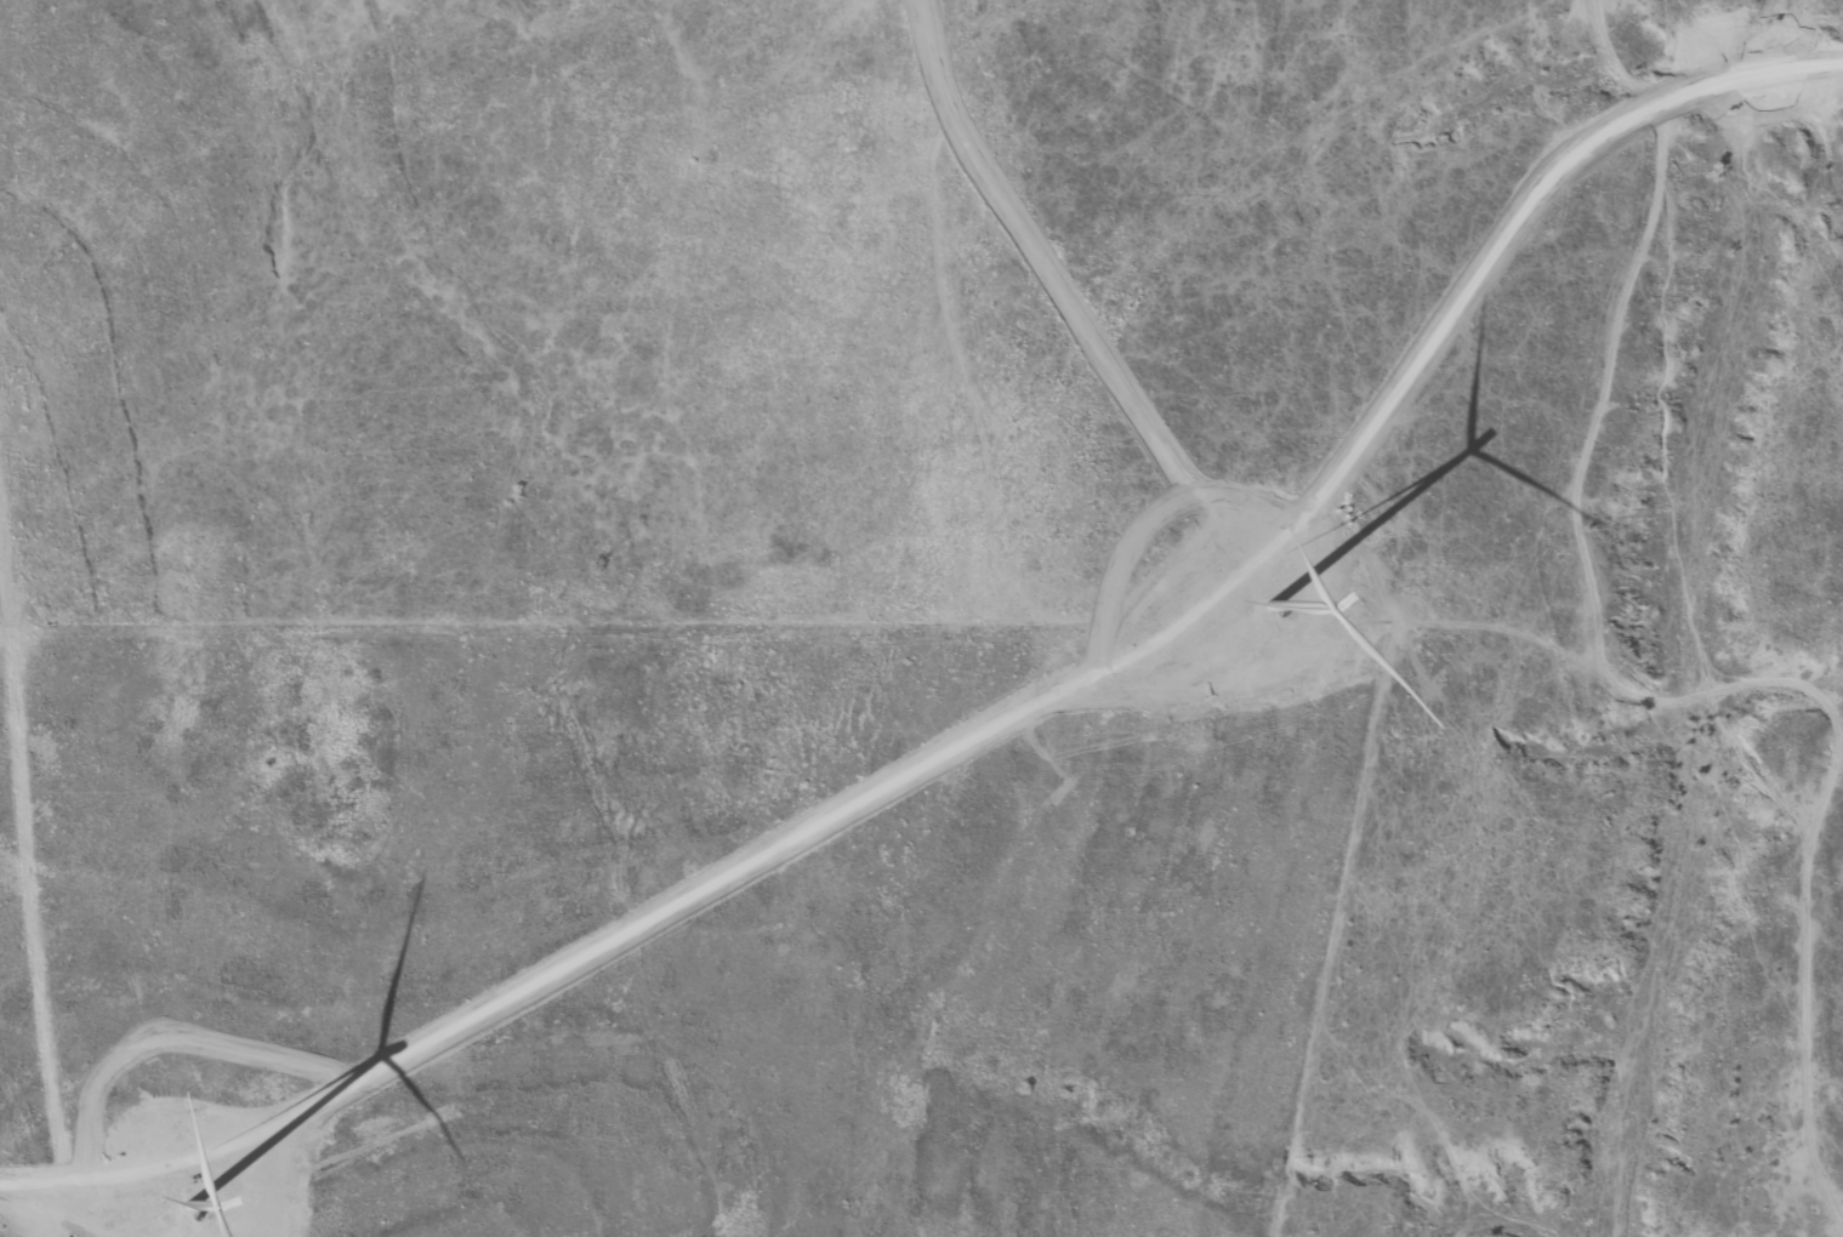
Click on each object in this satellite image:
wind turbine: (1270, 606)
road: (758, 612)
wind turbine: (190, 1208)

